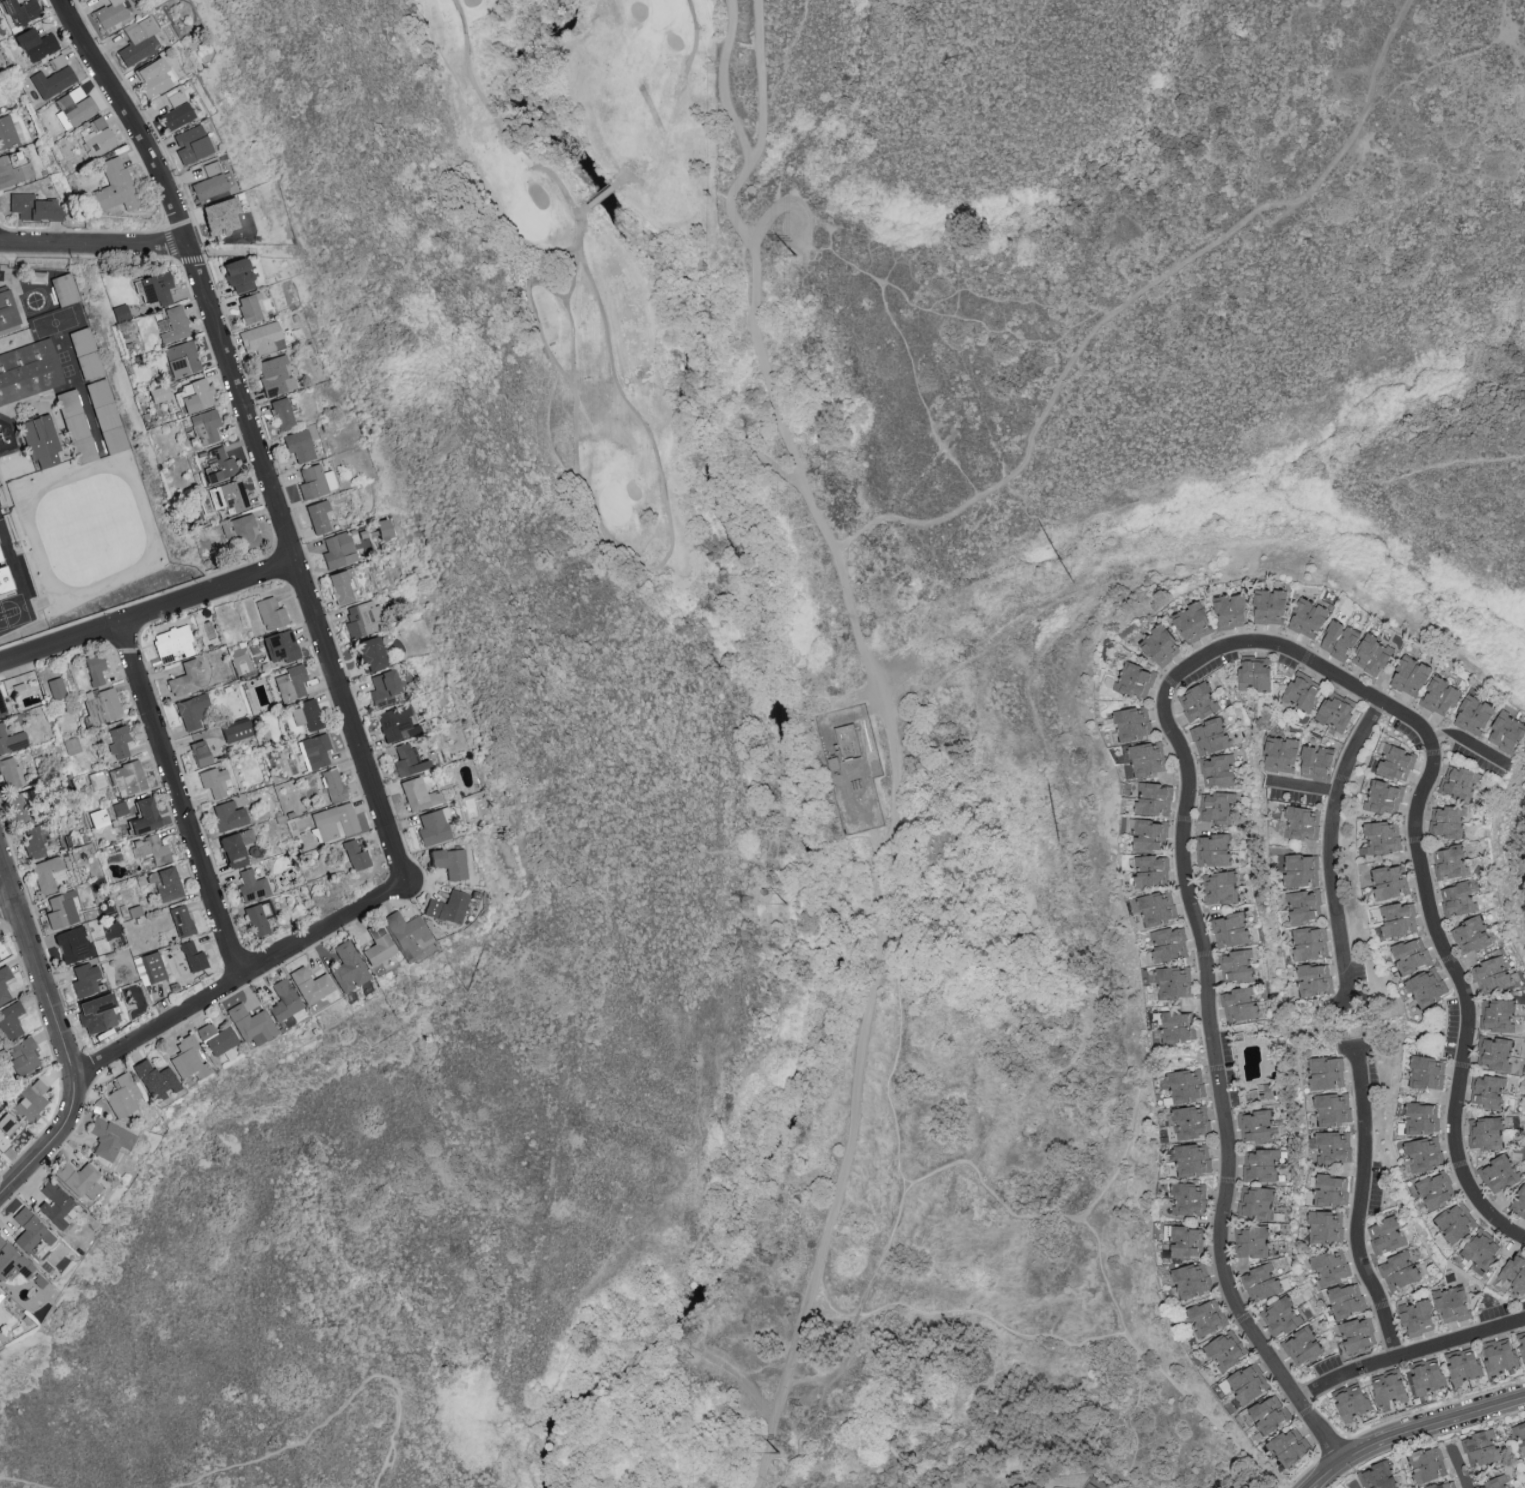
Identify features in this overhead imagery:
building: (18, 11)
park: (663, 12)
building: (110, 13)
building: (135, 41)
building: (33, 44)
building: (51, 81)
road: (722, 81)
building: (168, 101)
building: (72, 108)
building: (174, 117)
road: (762, 129)
building: (7, 132)
building: (96, 137)
building: (193, 147)
building: (14, 169)
building: (208, 169)
road: (615, 182)
building: (113, 187)
building: (206, 187)
road: (603, 191)
road: (789, 202)
building: (33, 207)
road: (583, 207)
building: (217, 216)
park: (531, 224)
road: (92, 243)
park: (585, 253)
power tower: (798, 257)
building: (235, 275)
road: (549, 287)
building: (155, 288)
building: (63, 290)
road: (1133, 294)
building: (248, 308)
building: (38, 309)
building: (119, 313)
building: (10, 317)
building: (172, 325)
building: (259, 339)
building: (181, 359)
building: (272, 376)
building: (30, 380)
building: (196, 396)
building: (104, 399)
road: (636, 411)
building: (281, 414)
building: (205, 426)
power tower: (756, 429)
building: (81, 435)
road: (251, 435)
building: (40, 440)
building: (297, 445)
road: (1258, 459)
building: (217, 466)
building: (315, 481)
building: (132, 492)
building: (227, 497)
park: (614, 503)
building: (317, 516)
building: (143, 524)
building: (243, 531)
building: (111, 535)
building: (336, 551)
building: (1, 584)
building: (341, 586)
building: (1268, 606)
building: (1229, 610)
building: (270, 614)
building: (1307, 617)
road: (149, 619)
building: (360, 619)
building: (1191, 622)
building: (1338, 638)
building: (173, 645)
building: (1159, 645)
building: (279, 646)
building: (1371, 653)
building: (367, 655)
building: (93, 669)
building: (1254, 672)
building: (1409, 674)
building: (186, 679)
building: (1134, 680)
building: (291, 683)
building: (56, 689)
building: (381, 689)
building: (1301, 693)
building: (1440, 695)
building: (1197, 701)
building: (100, 706)
park: (804, 708)
building: (1335, 710)
building: (191, 712)
building: (1473, 713)
building: (306, 715)
building: (1132, 722)
building: (393, 724)
building: (1507, 729)
building: (236, 732)
building: (1209, 735)
building: (11, 741)
road: (1469, 741)
building: (118, 743)
building: (315, 751)
building: (197, 754)
building: (1280, 754)
building: (1147, 758)
building: (1316, 760)
building: (406, 761)
building: (1395, 761)
building: (1217, 770)
building: (10, 773)
building: (127, 778)
building: (214, 782)
building: (1461, 782)
building: (332, 785)
road: (1303, 785)
building: (416, 795)
building: (1384, 796)
building: (1154, 798)
road: (183, 805)
building: (1217, 806)
building: (19, 807)
building: (228, 816)
building: (140, 817)
building: (1448, 821)
building: (1299, 822)
building: (333, 823)
building: (429, 829)
building: (1148, 834)
building: (1382, 837)
building: (33, 844)
building: (234, 848)
building: (1214, 849)
road: (1329, 849)
building: (149, 851)
building: (355, 856)
road: (880, 860)
building: (1450, 861)
building: (447, 863)
building: (1151, 870)
building: (1301, 870)
building: (46, 874)
road: (1422, 879)
building: (1391, 881)
building: (164, 883)
building: (251, 886)
building: (1219, 887)
building: (1458, 898)
power tower: (748, 904)
power tower: (788, 905)
road: (8, 906)
building: (447, 907)
building: (1157, 908)
building: (62, 911)
building: (1397, 918)
building: (258, 919)
building: (181, 921)
building: (1230, 929)
building: (1470, 934)
building: (408, 935)
building: (1310, 942)
building: (1169, 944)
building: (72, 945)
building: (378, 946)
building: (1411, 955)
building: (192, 957)
building: (1236, 965)
road: (38, 967)
building: (152, 967)
building: (347, 968)
building: (1492, 975)
building: (1315, 979)
building: (84, 980)
building: (1172, 981)
road: (242, 983)
building: (311, 985)
building: (1427, 986)
building: (3, 990)
building: (283, 1000)
building: (1240, 1003)
building: (95, 1015)
building: (1497, 1015)
building: (9, 1021)
building: (1175, 1027)
road: (1352, 1029)
building: (217, 1039)
building: (1497, 1054)
building: (21, 1057)
building: (188, 1060)
road: (1215, 1064)
building: (1428, 1072)
building: (1326, 1073)
building: (156, 1081)
building: (1186, 1085)
building: (1487, 1090)
building: (1260, 1092)
building: (122, 1097)
building: (28, 1103)
building: (1333, 1109)
building: (1422, 1118)
building: (1190, 1121)
building: (1255, 1125)
building: (7, 1132)
building: (1484, 1133)
building: (109, 1139)
road: (51, 1147)
building: (1333, 1147)
building: (1424, 1153)
building: (1193, 1159)
building: (1261, 1165)
building: (1499, 1173)
building: (78, 1180)
building: (1330, 1190)
building: (1436, 1190)
building: (1189, 1198)
building: (1255, 1202)
building: (1519, 1202)
road: (1359, 1203)
building: (53, 1204)
building: (1456, 1222)
road: (894, 1225)
building: (1324, 1226)
building: (30, 1231)
building: (1386, 1235)
building: (1185, 1241)
building: (1250, 1241)
building: (1480, 1250)
building: (13, 1262)
building: (1331, 1266)
building: (1399, 1270)
building: (1512, 1275)
road: (1105, 1278)
building: (1190, 1281)
building: (1261, 1283)
building: (1, 1296)
building: (1346, 1299)
building: (1452, 1304)
road: (966, 1310)
building: (1280, 1316)
building: (1206, 1317)
building: (1416, 1317)
building: (1357, 1336)
building: (1522, 1343)
building: (1301, 1346)
building: (1226, 1349)
road: (1408, 1355)
building: (1499, 1355)
building: (1463, 1365)
building: (1427, 1375)
road: (809, 1376)
building: (1248, 1383)
building: (1388, 1387)
building: (1351, 1401)
road: (337, 1412)
building: (1269, 1414)
power tower: (741, 1417)
road: (1408, 1430)
building: (1520, 1437)
building: (1289, 1446)
building: (1481, 1448)
power tower: (780, 1454)
building: (1427, 1463)
road: (1455, 1466)
building: (1377, 1476)
building: (1524, 1476)
road: (20, 1483)
building: (1495, 1483)
park: (987, 1484)
building: (1443, 1484)
road: (1353, 1486)

